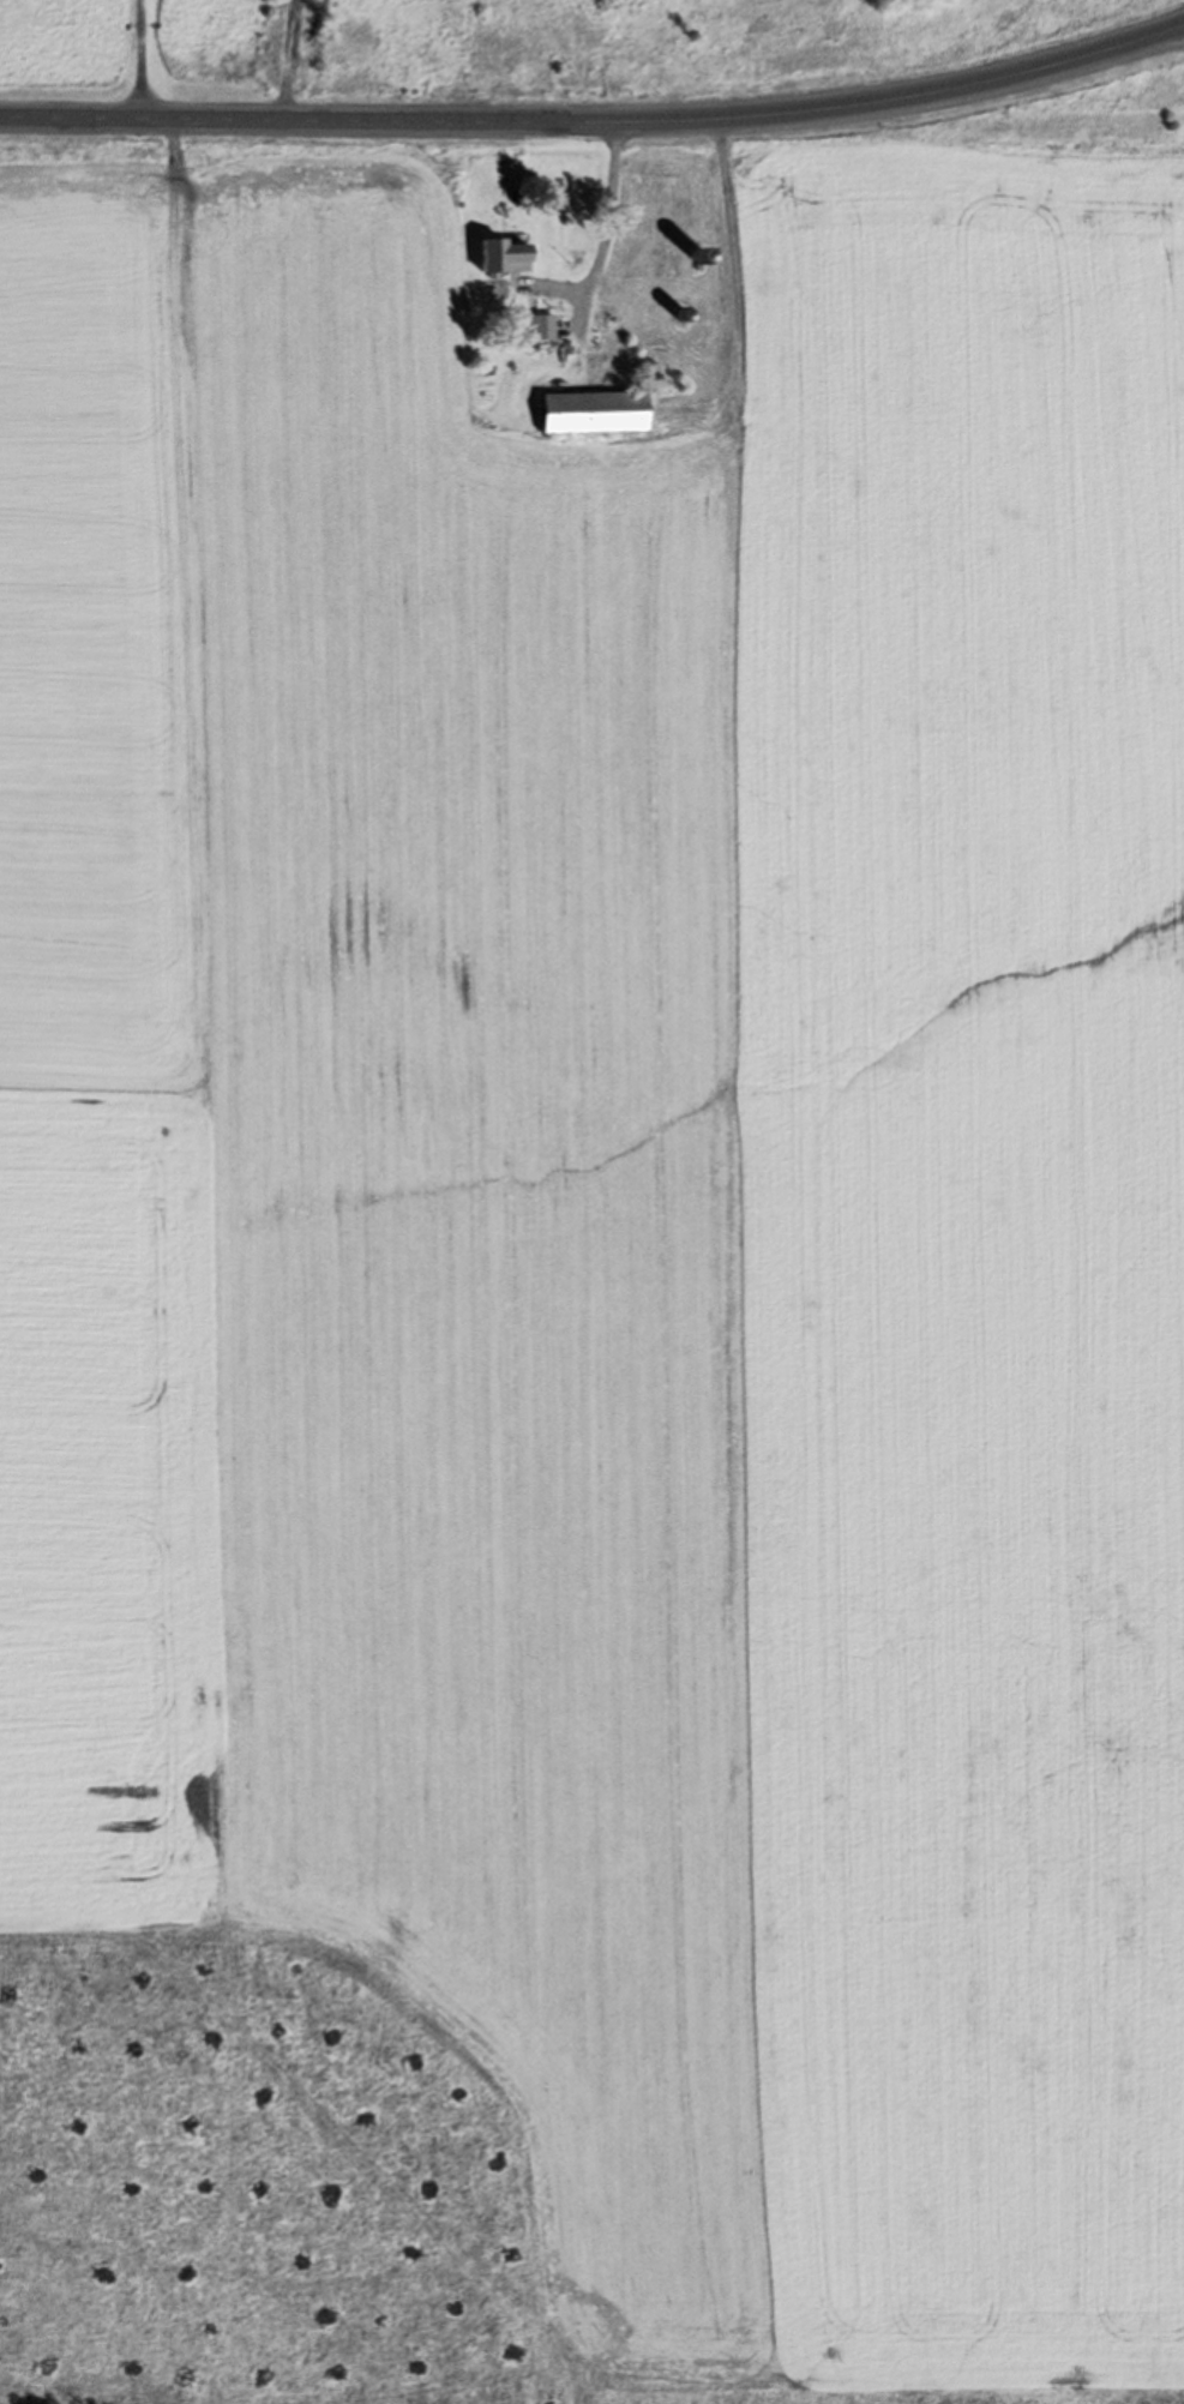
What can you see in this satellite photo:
road: (597, 121)
building: (503, 254)
building: (591, 410)

